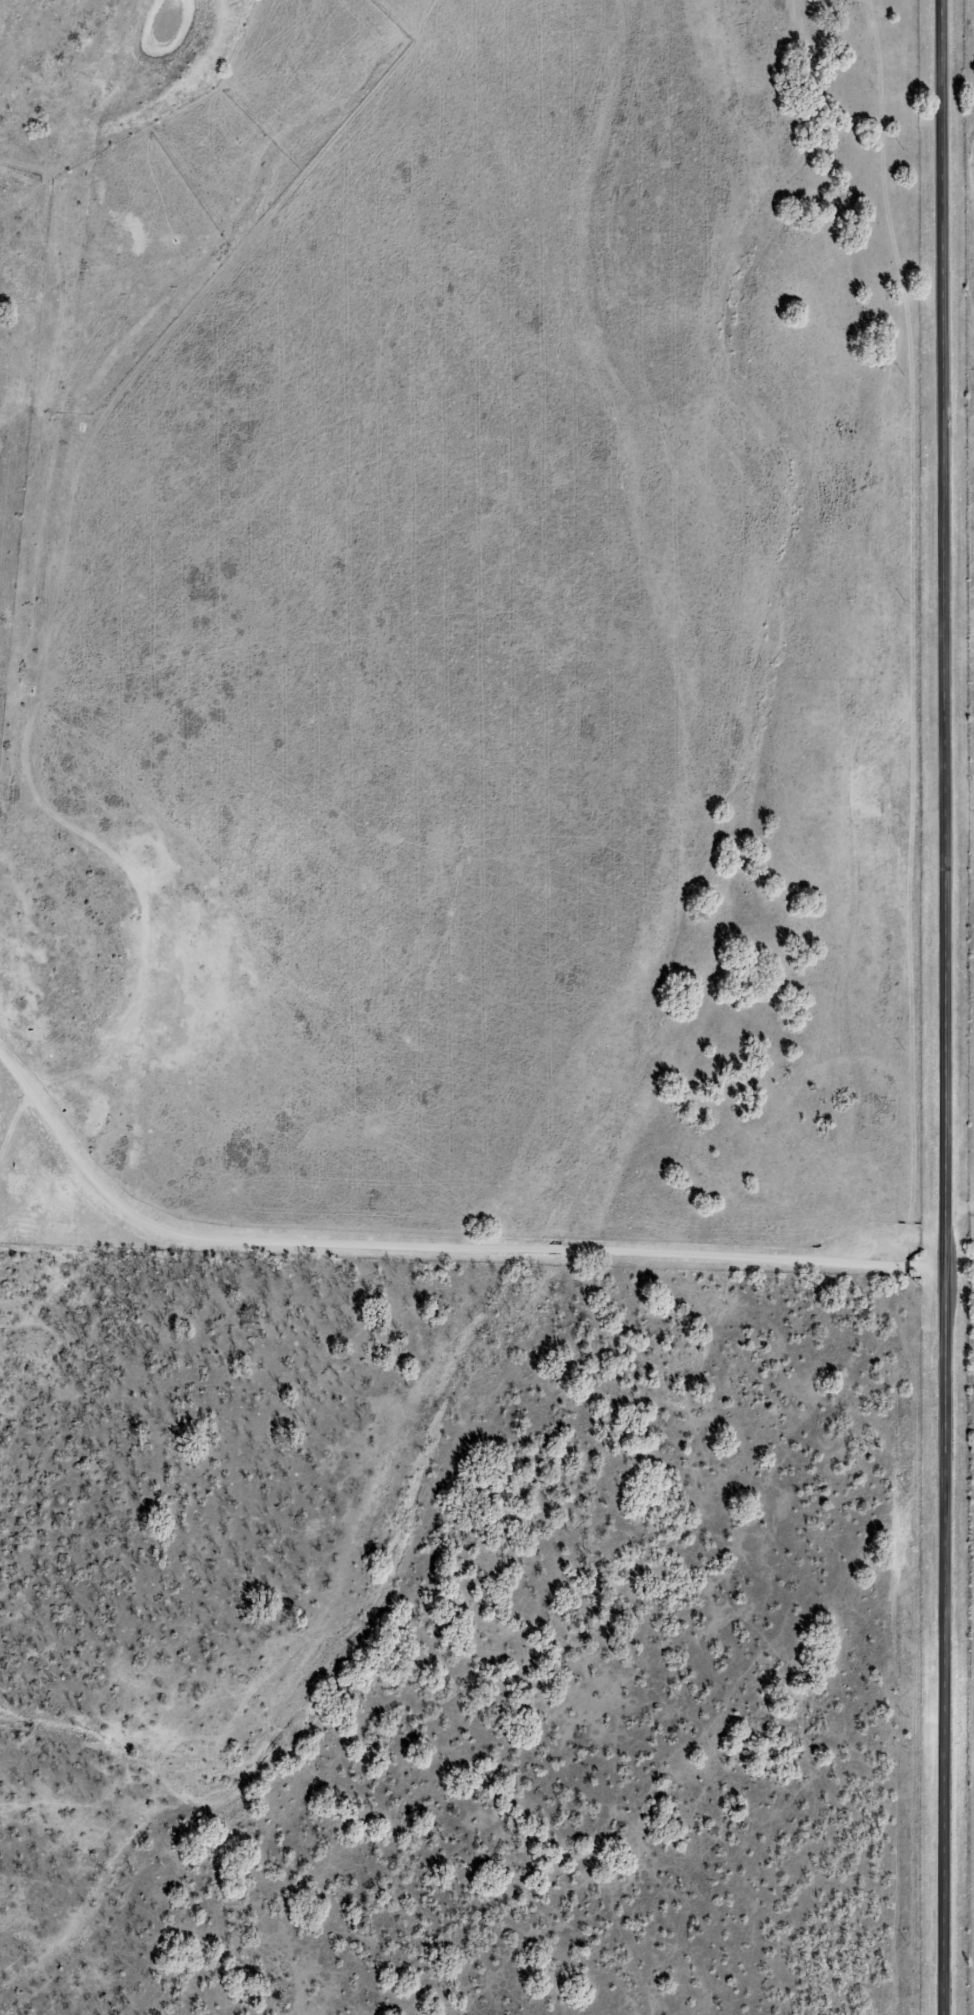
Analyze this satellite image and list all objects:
road: (946, 1007)
road: (272, 1208)
road: (771, 1232)

